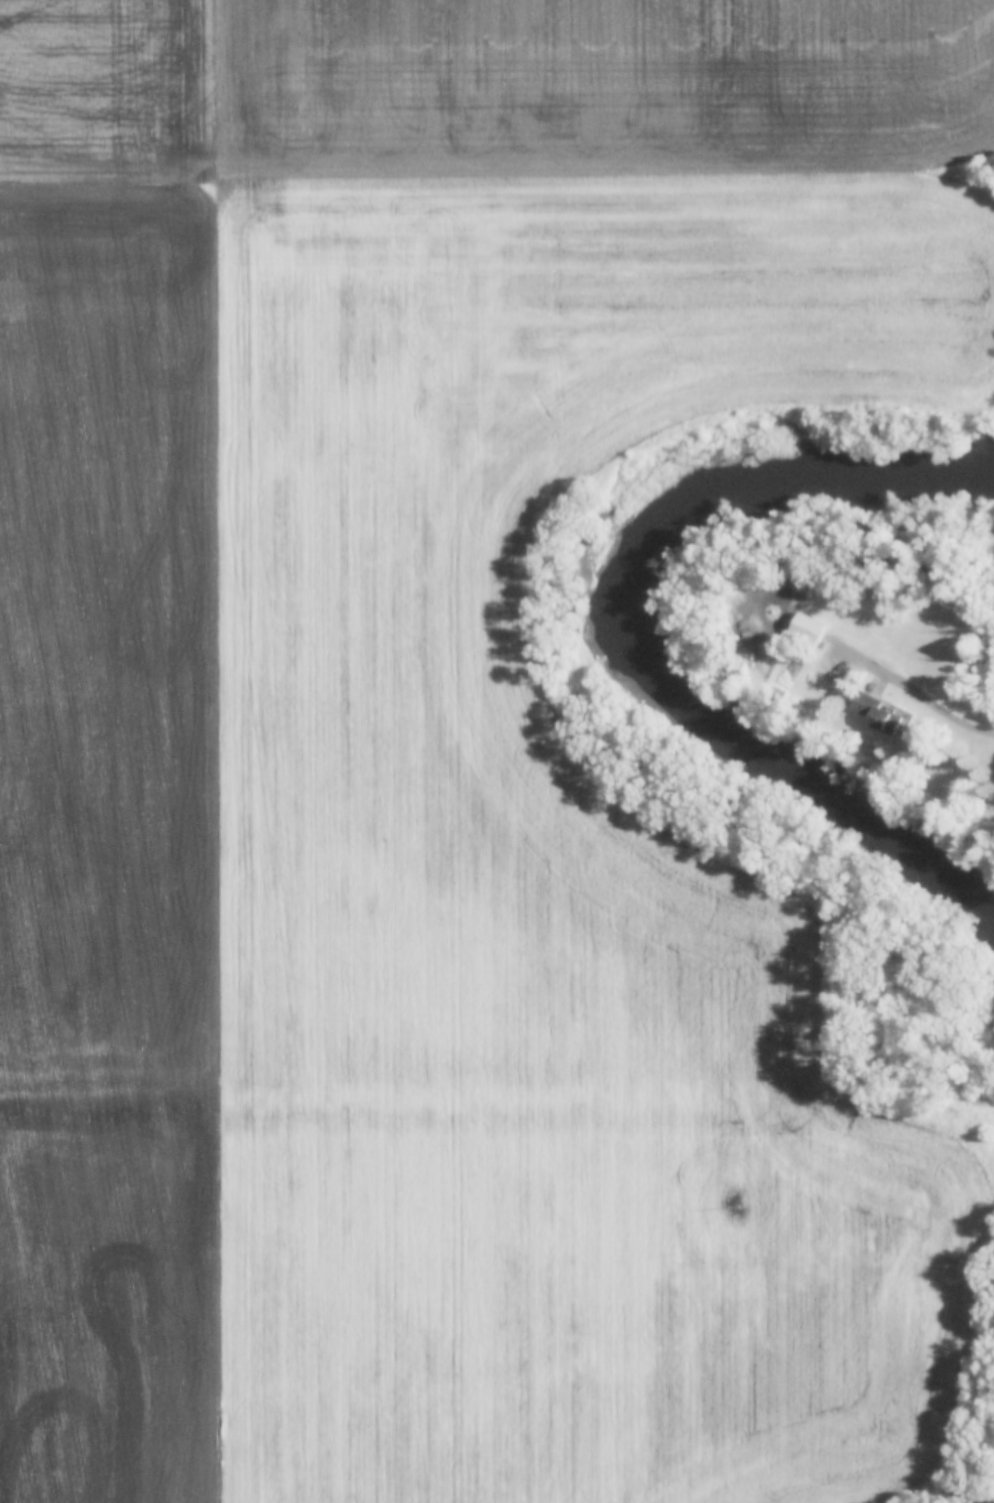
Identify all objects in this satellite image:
river: (656, 618)
building: (805, 628)
road: (919, 691)
building: (872, 712)
building: (991, 1025)

